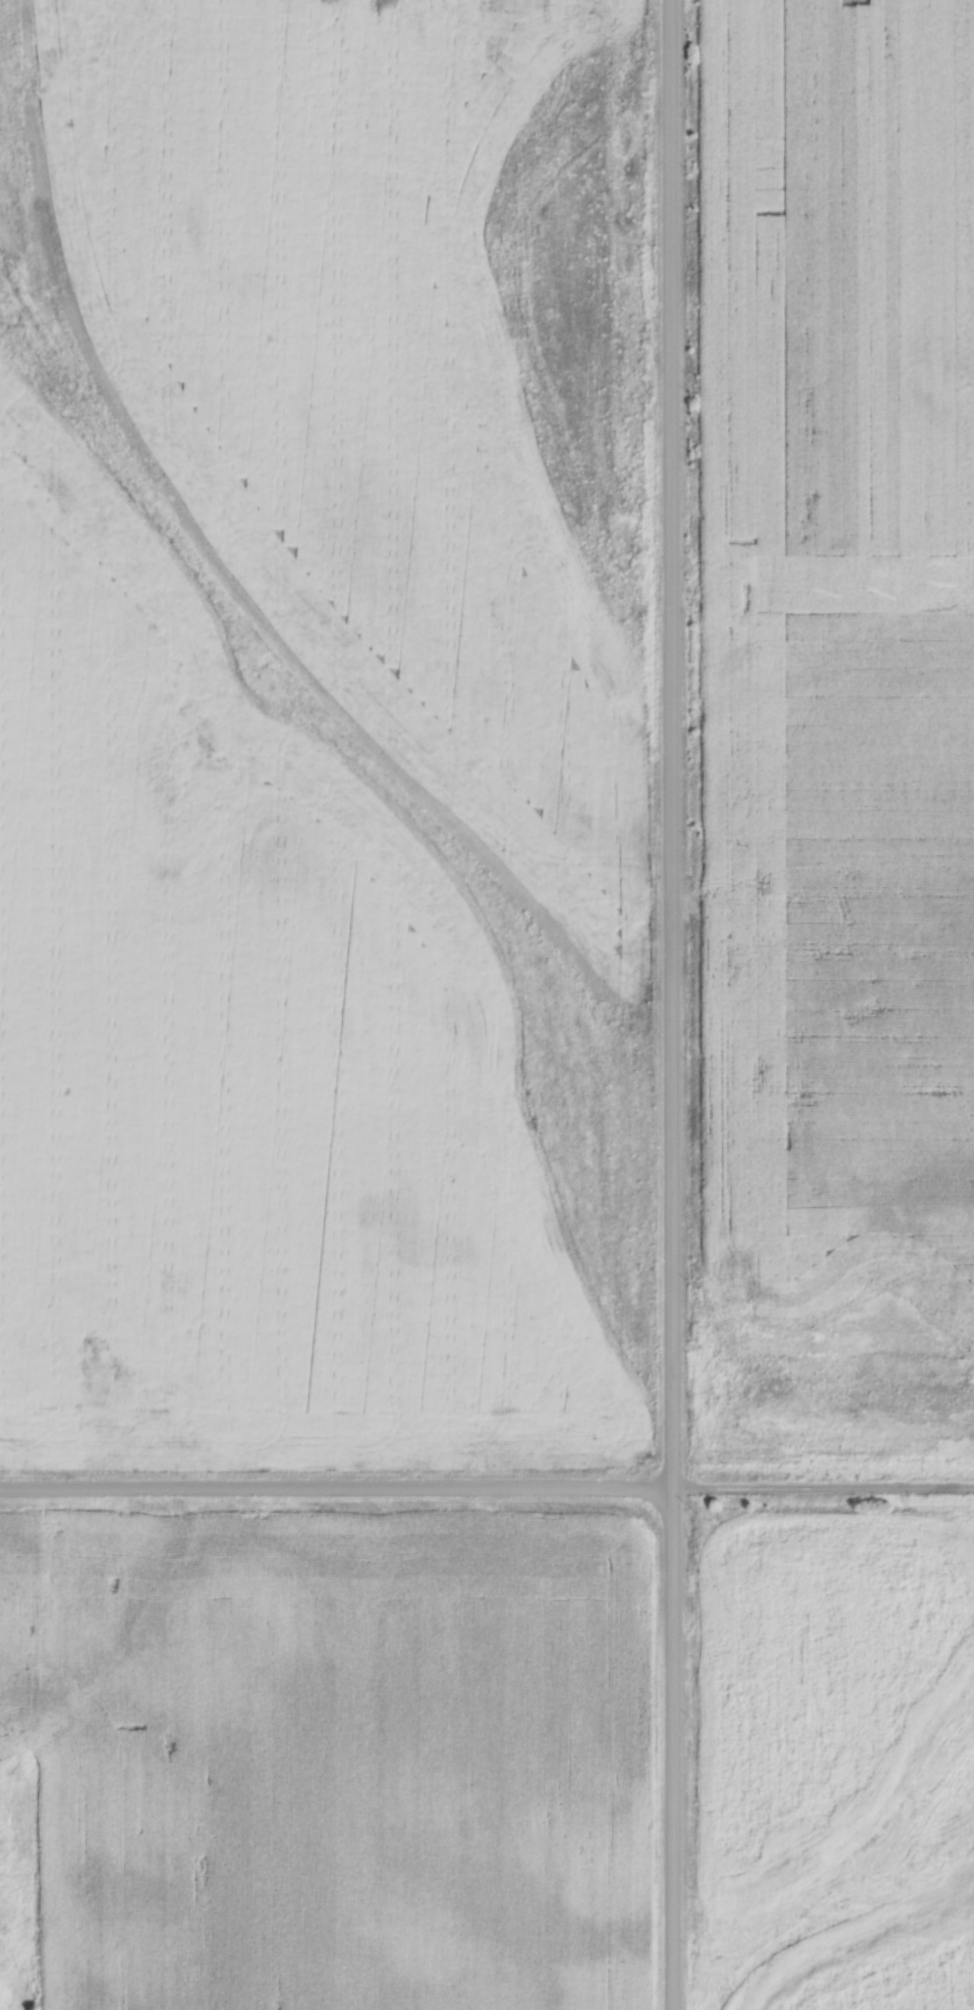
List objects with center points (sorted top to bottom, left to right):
road: (675, 1005)
road: (486, 1487)

